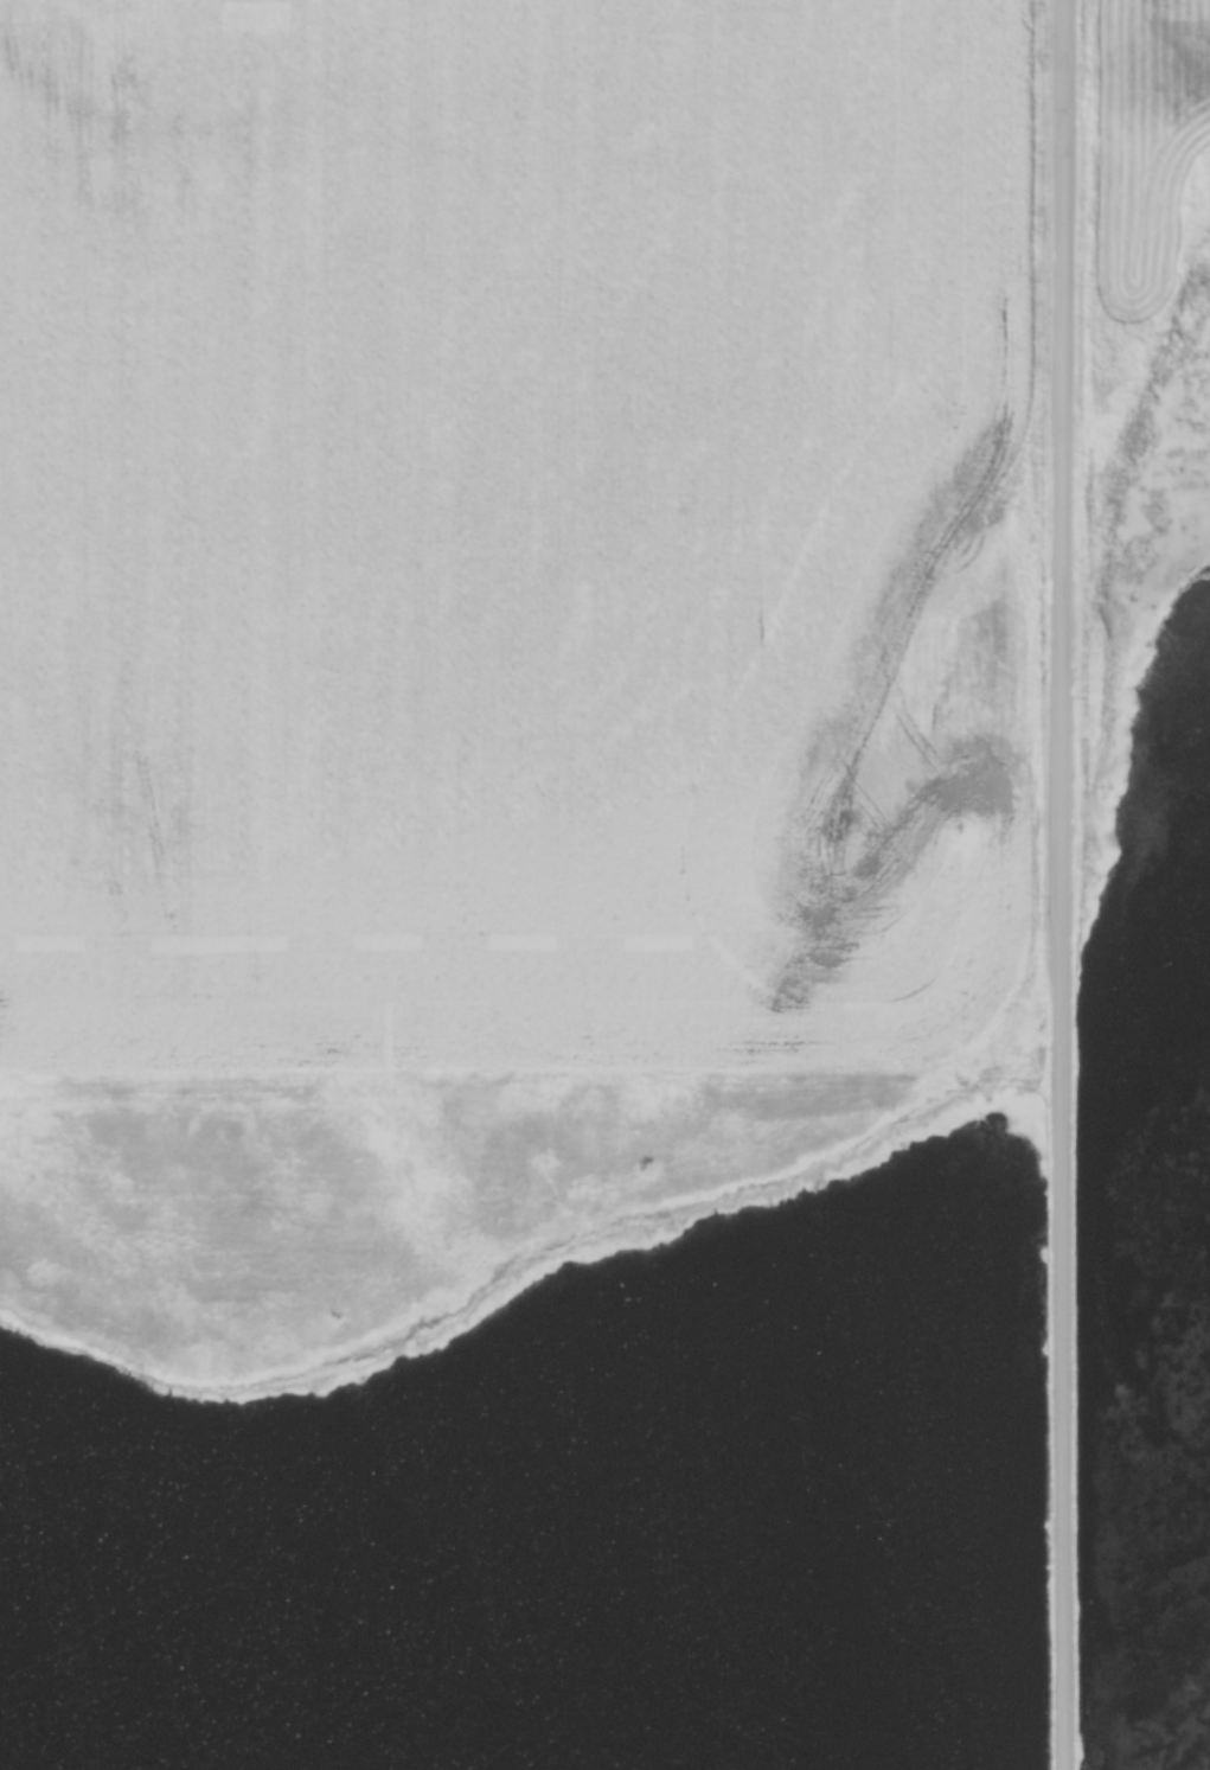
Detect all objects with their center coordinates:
road: (1067, 884)

